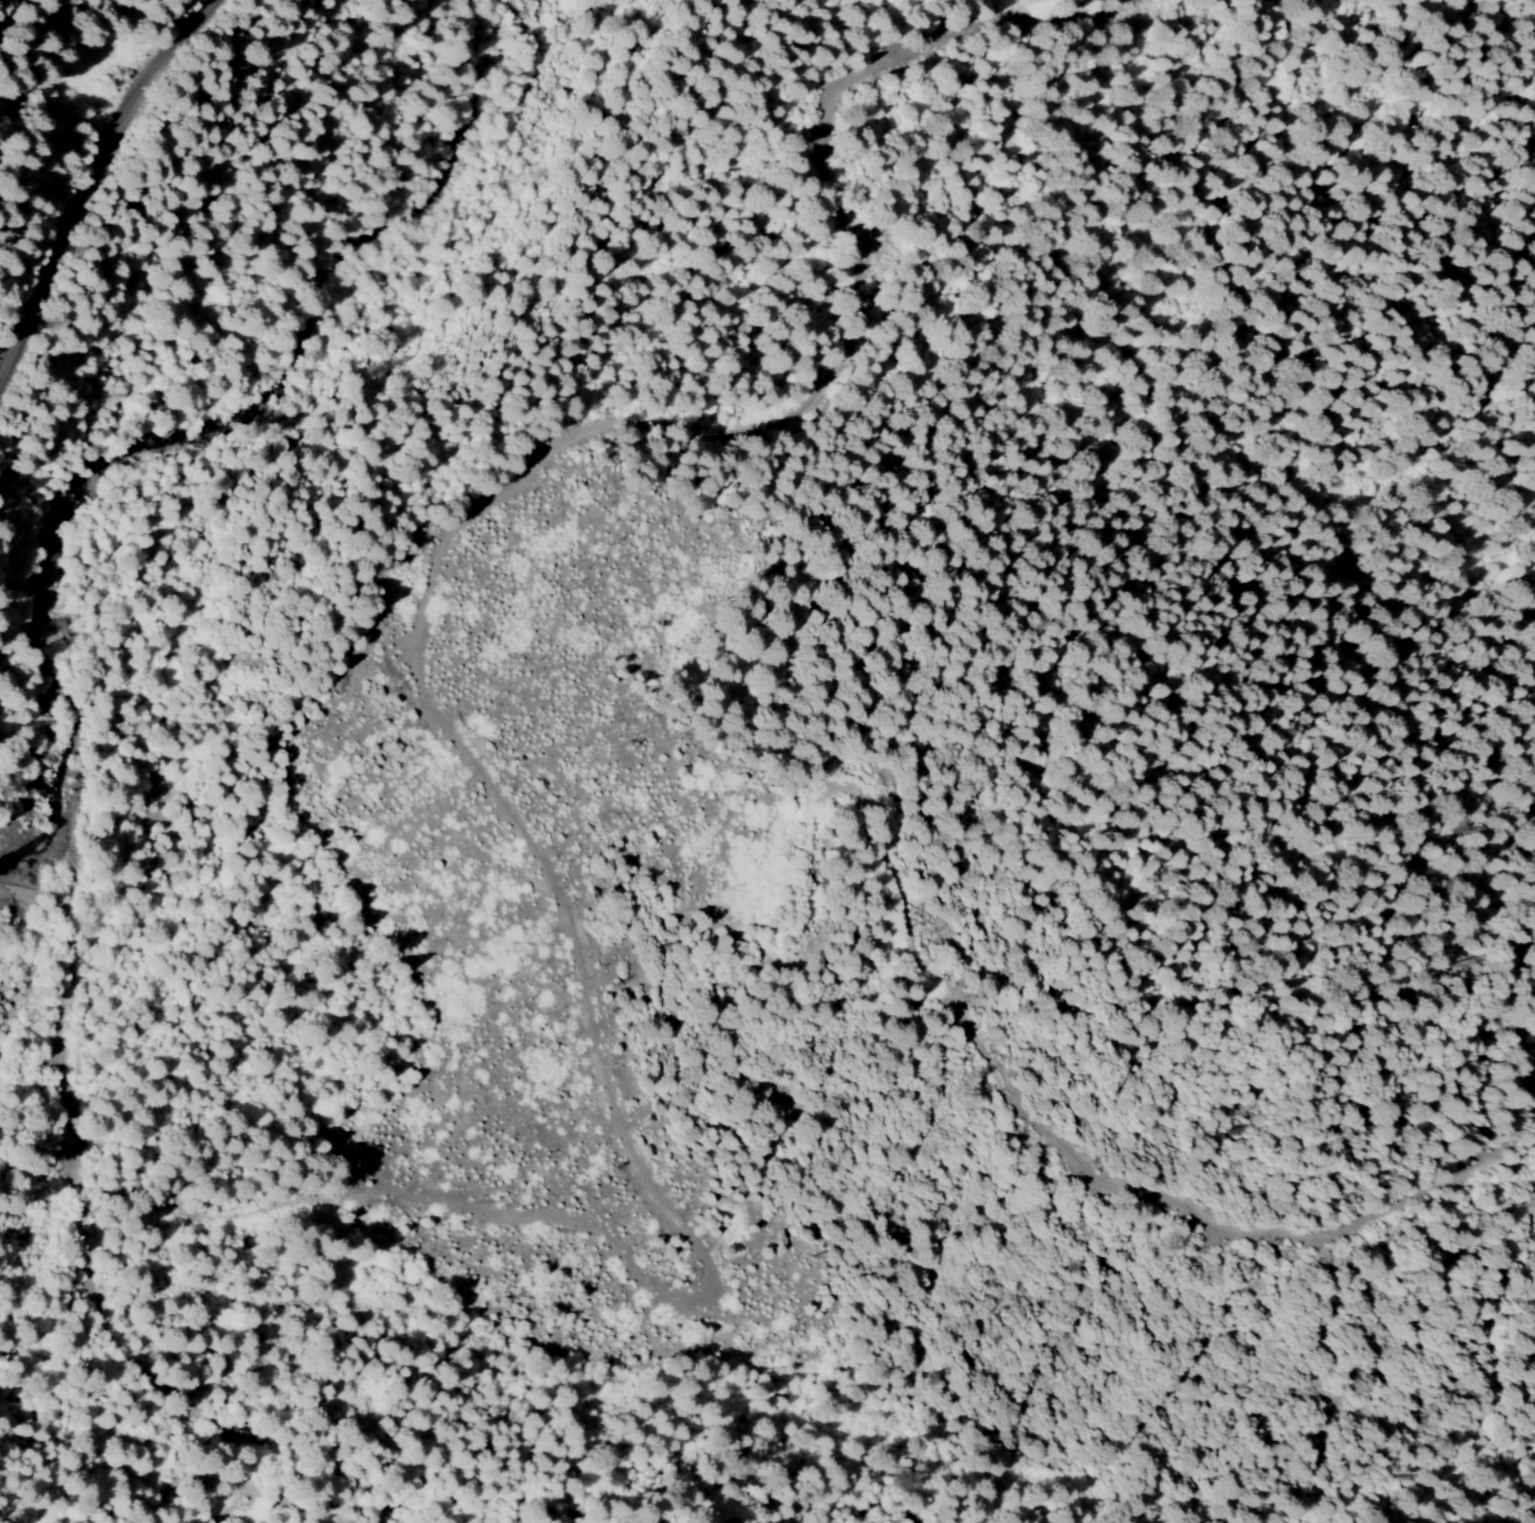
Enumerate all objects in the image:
road: (84, 177)

